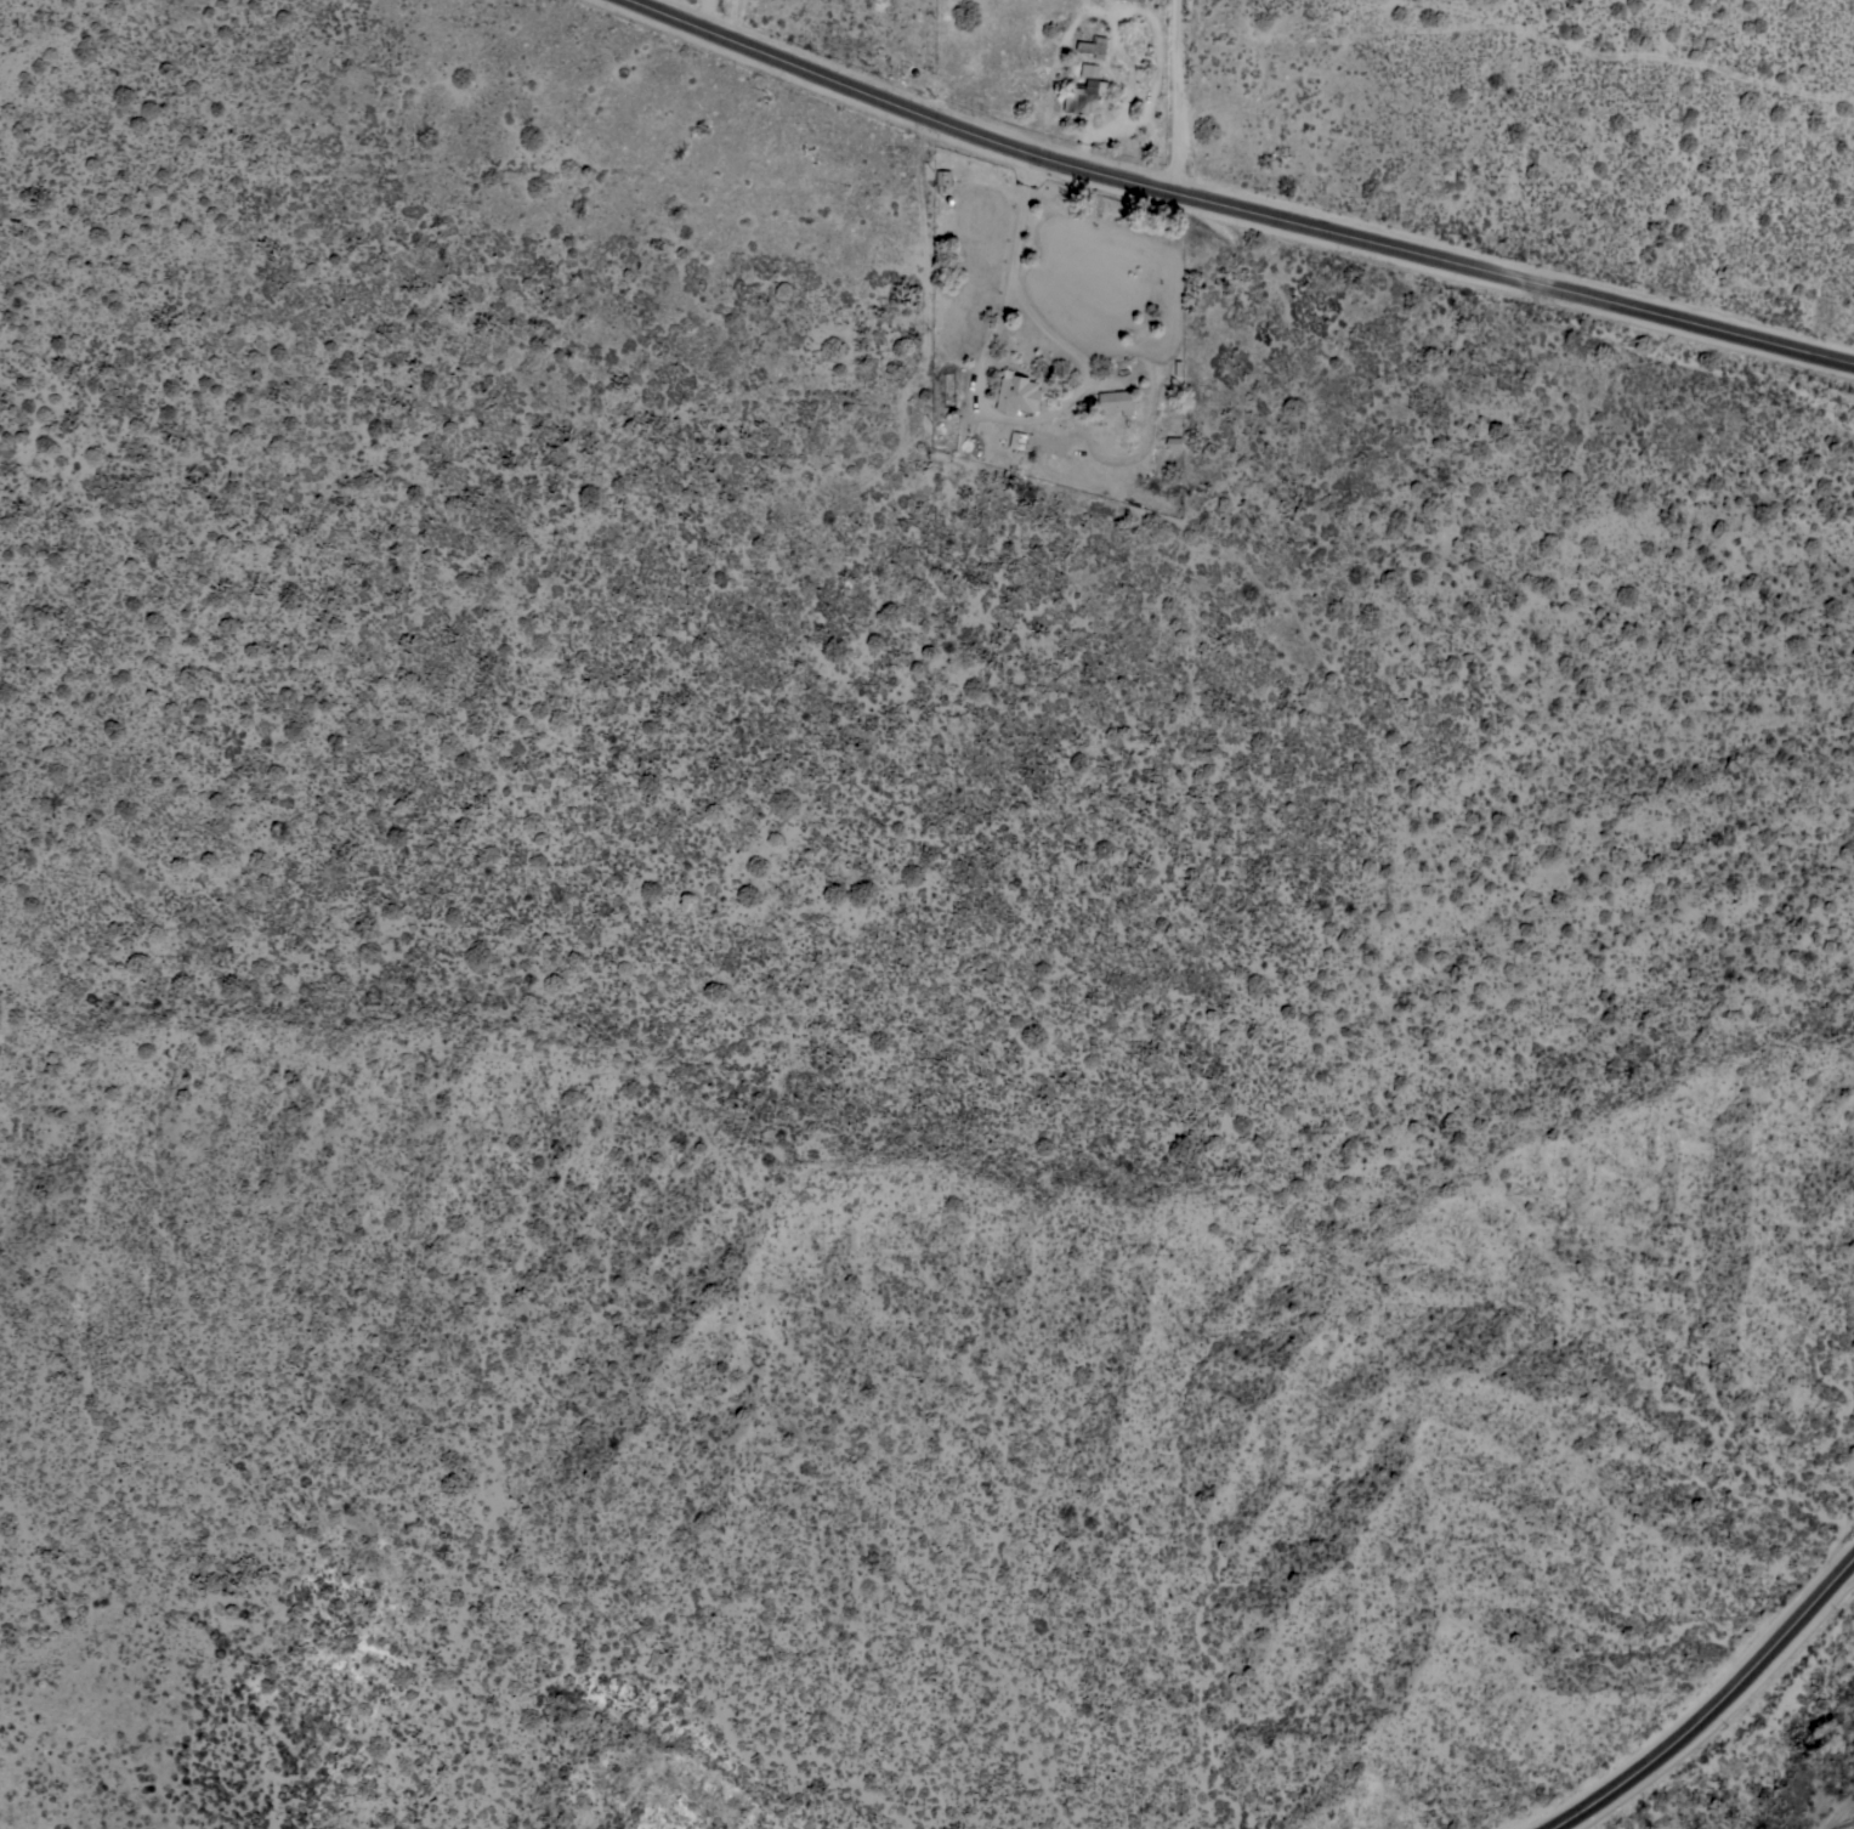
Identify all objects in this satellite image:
building: (1139, 0)
road: (714, 15)
building: (1092, 46)
building: (1089, 69)
building: (1083, 94)
road: (1178, 97)
building: (942, 176)
road: (1237, 209)
building: (1017, 393)
road: (974, 398)
building: (1116, 401)
building: (1017, 440)
building: (1173, 443)
road: (1717, 1704)

